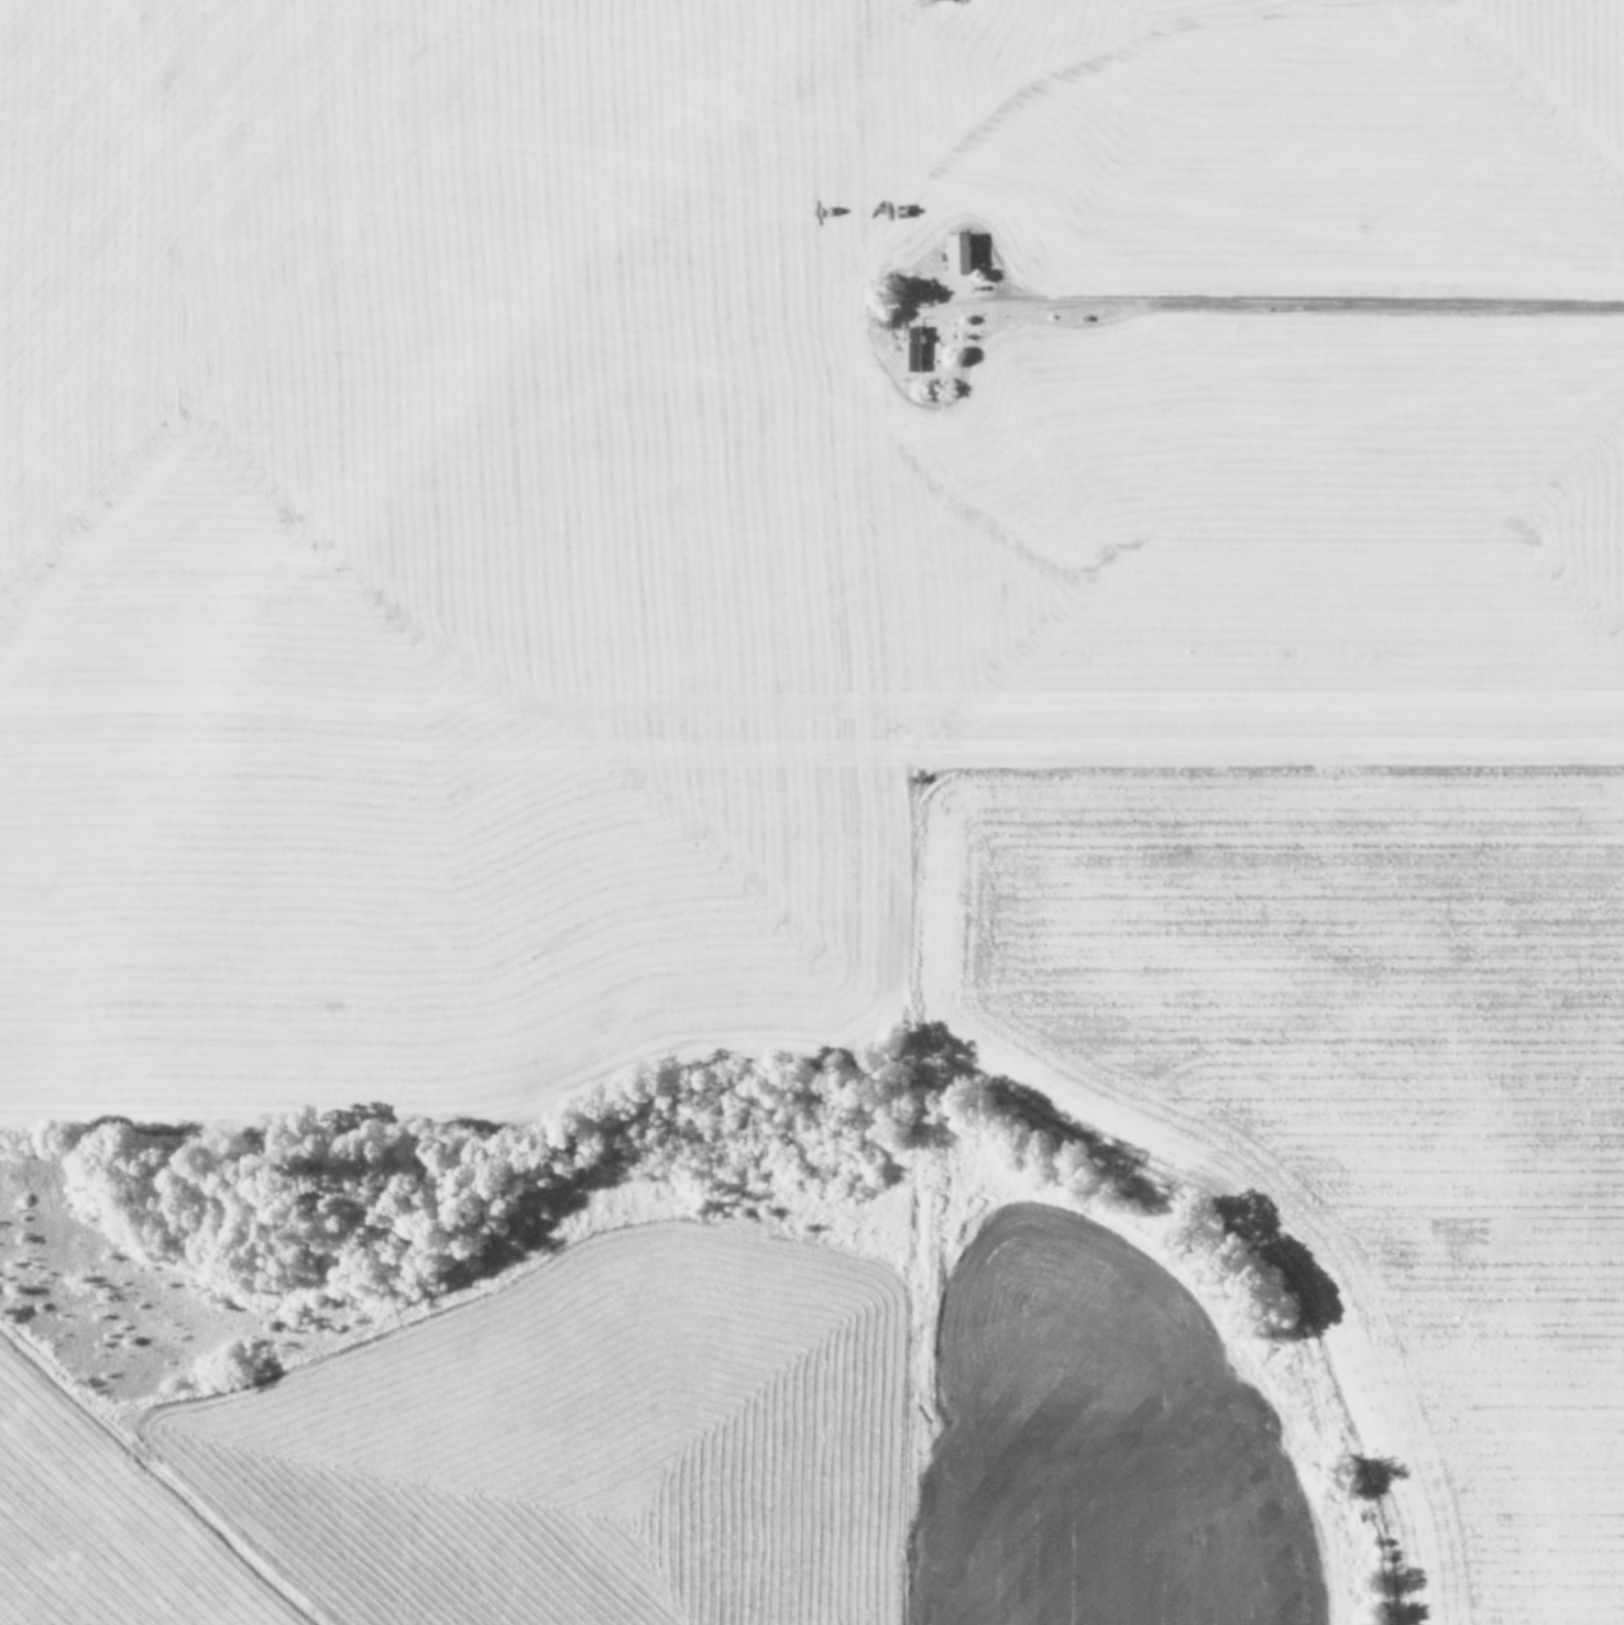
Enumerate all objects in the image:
building: (958, 252)
road: (1317, 297)
crop: (812, 812)

